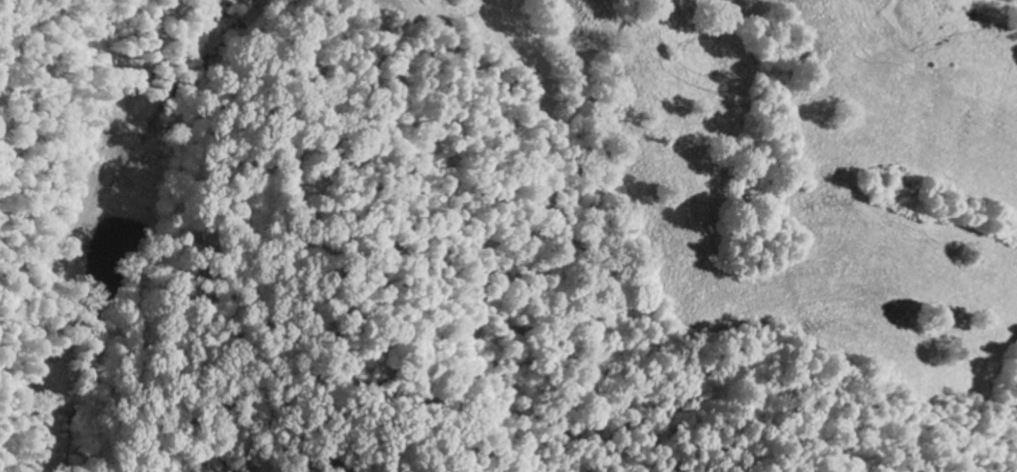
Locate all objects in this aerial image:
road: (903, 17)

